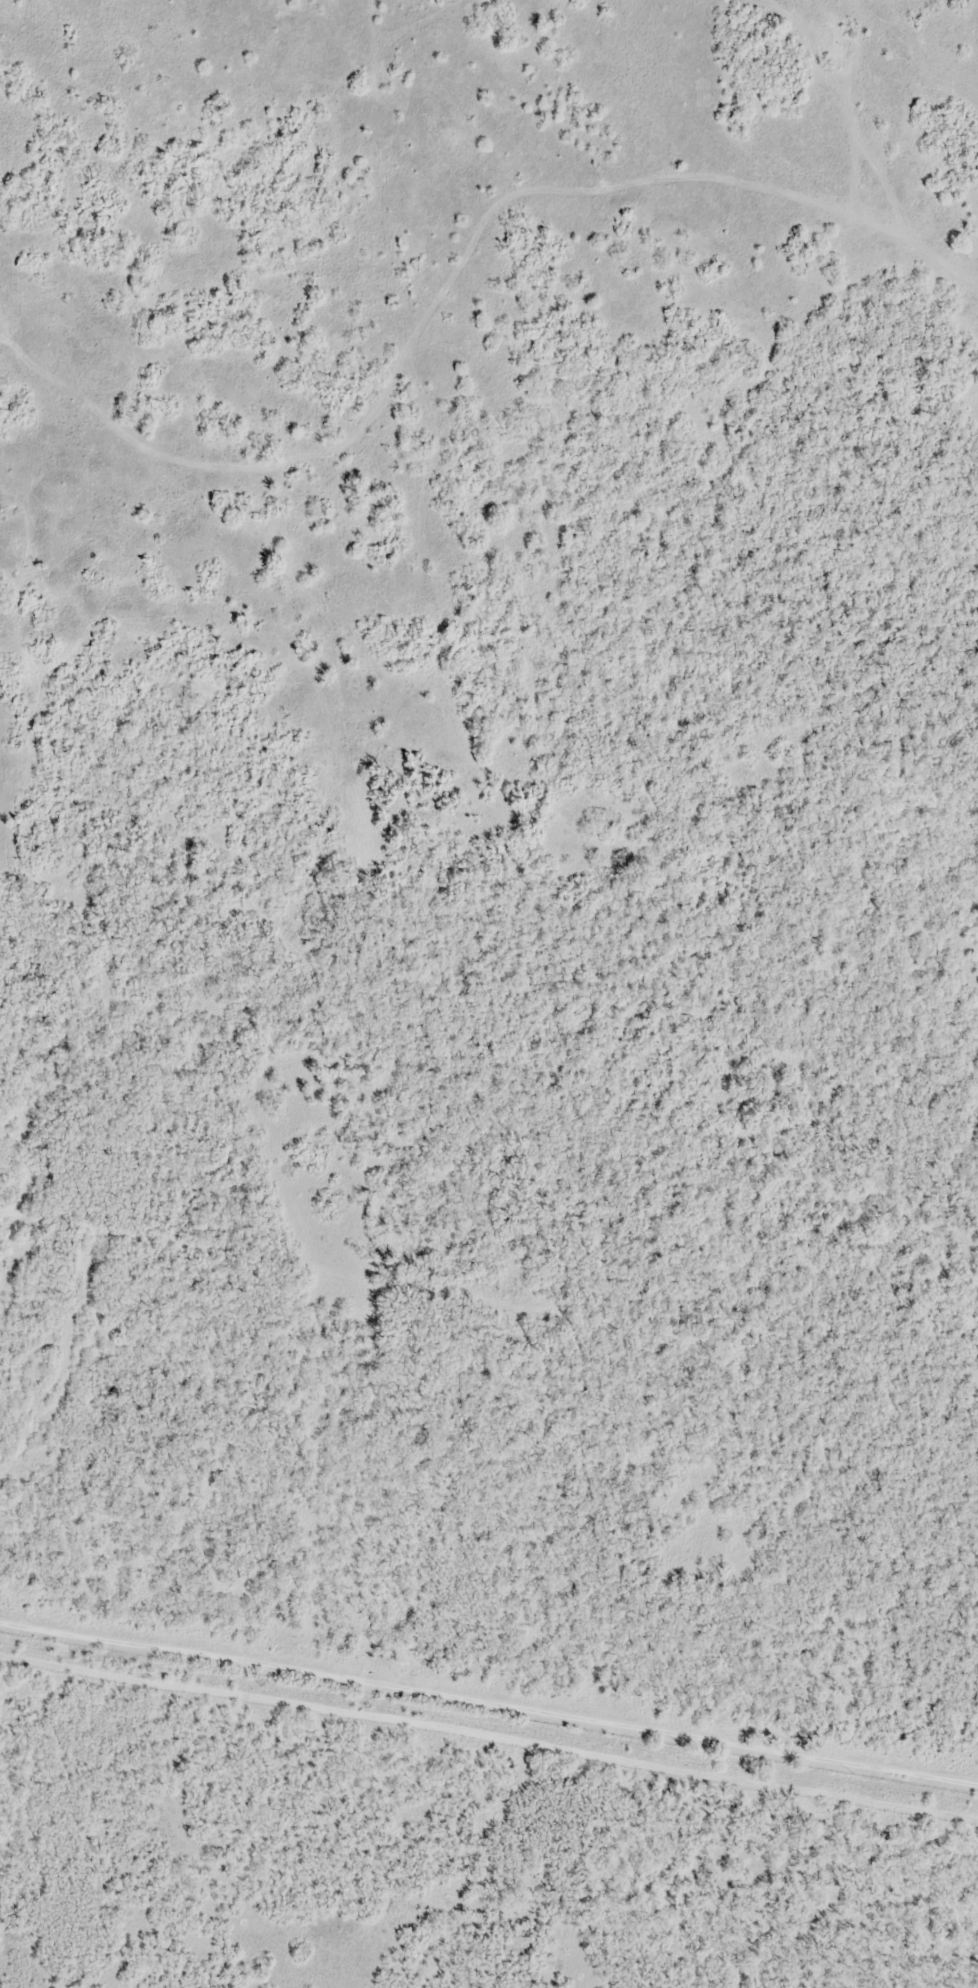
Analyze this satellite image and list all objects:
road: (489, 1702)

